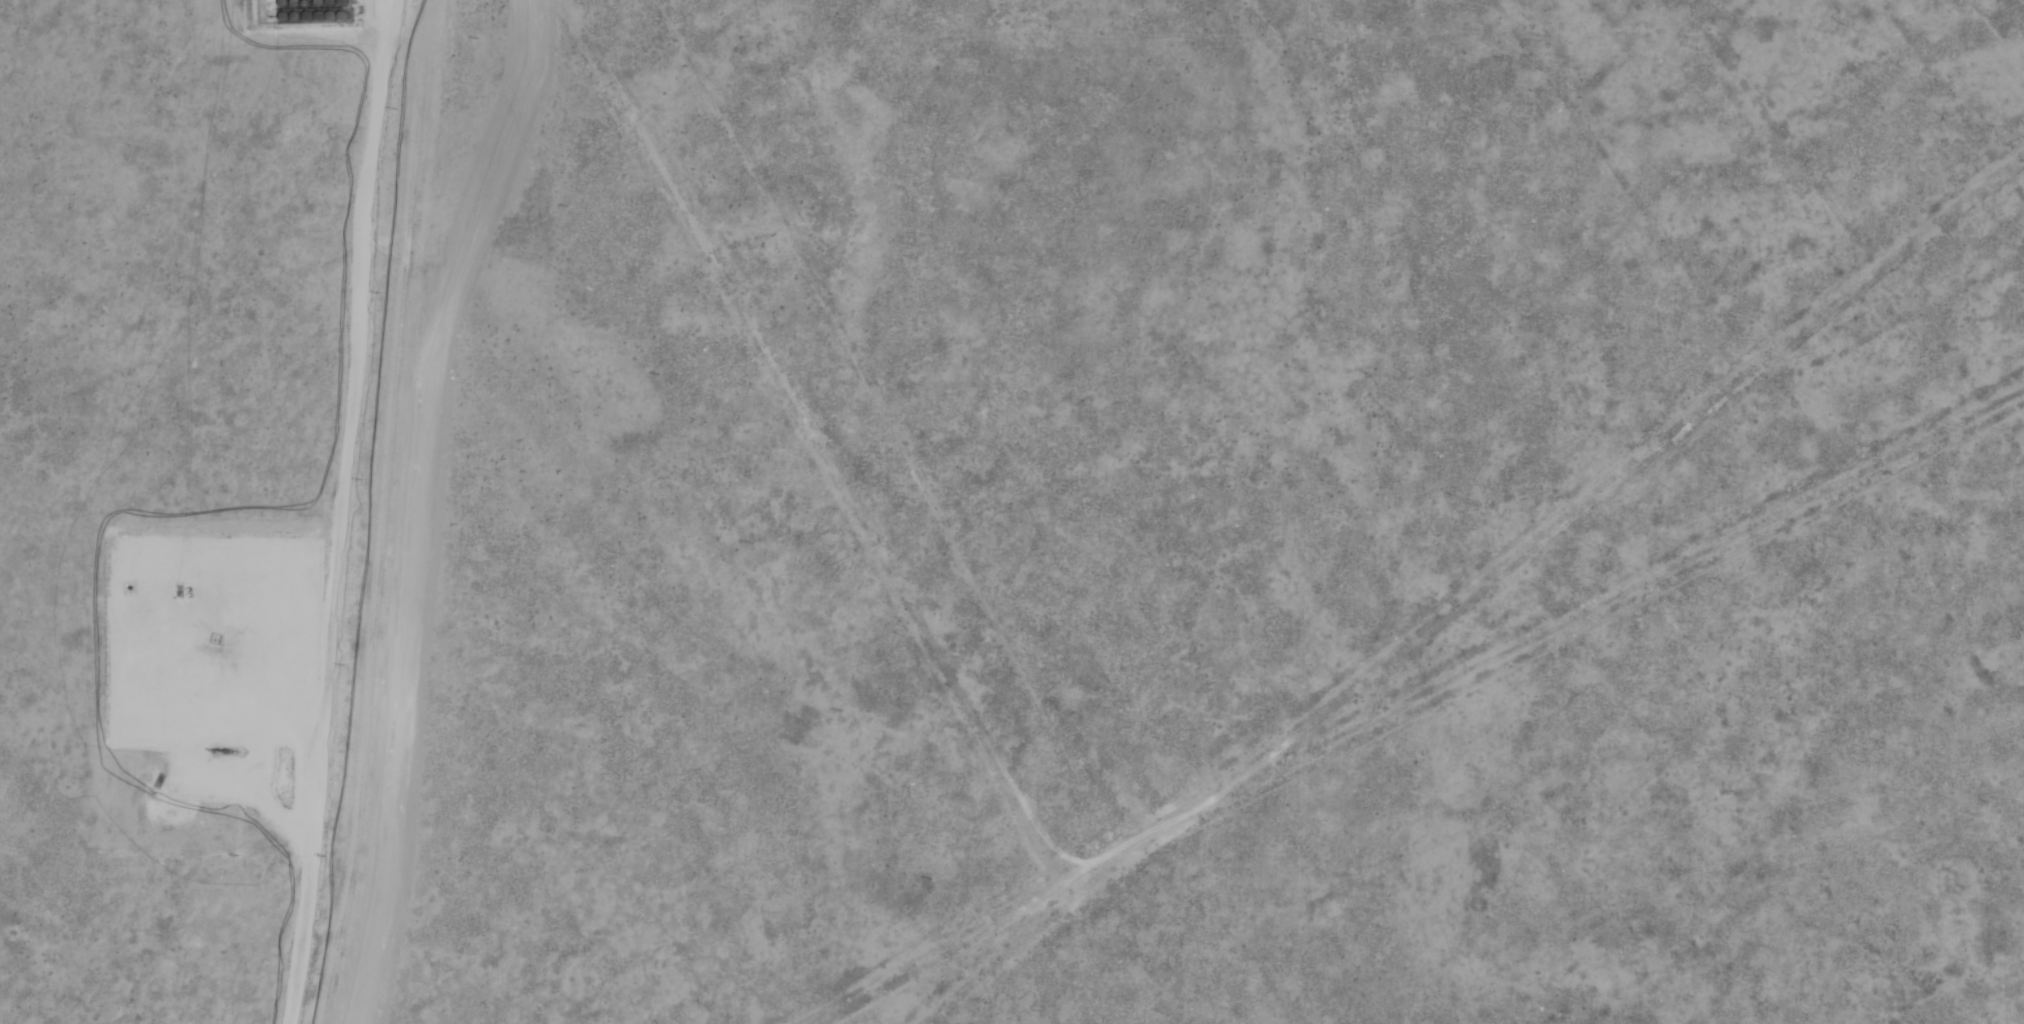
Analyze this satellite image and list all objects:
road: (327, 511)
petroleum well: (215, 742)

